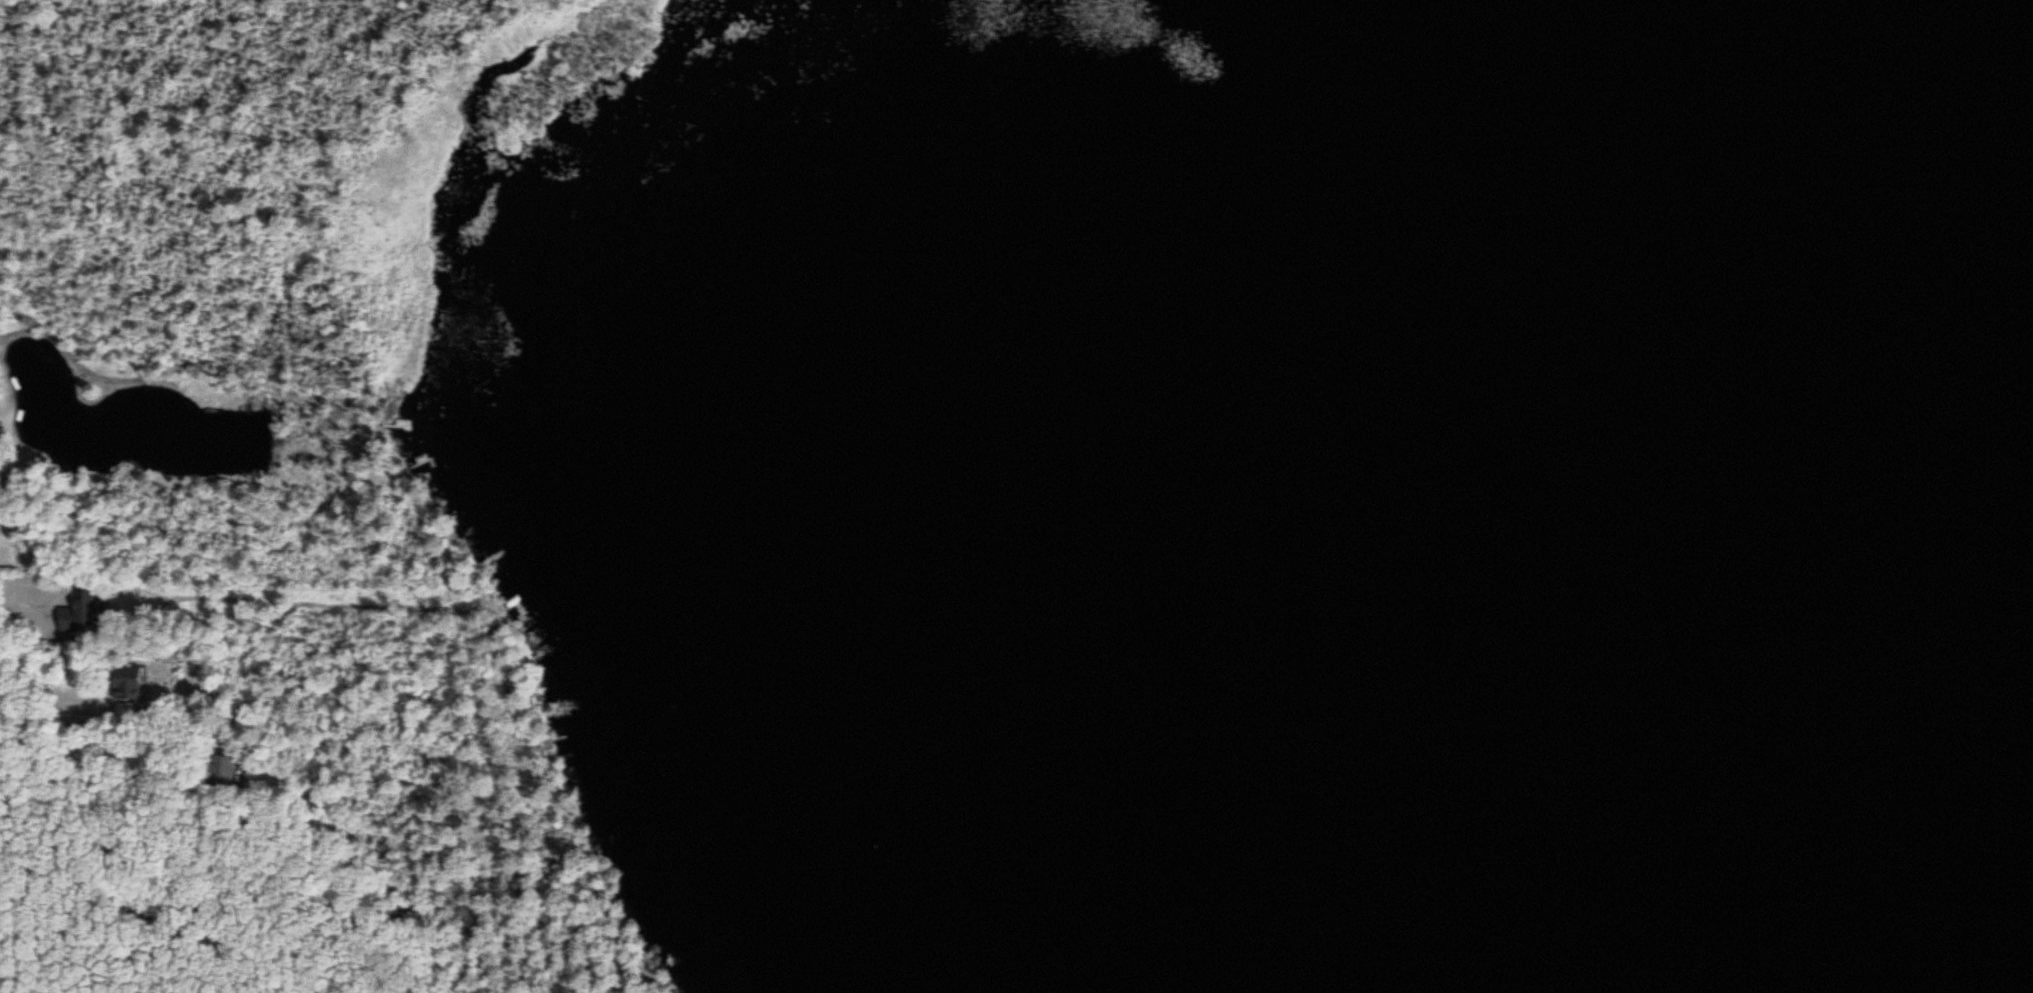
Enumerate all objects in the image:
building: (127, 684)
building: (223, 770)

